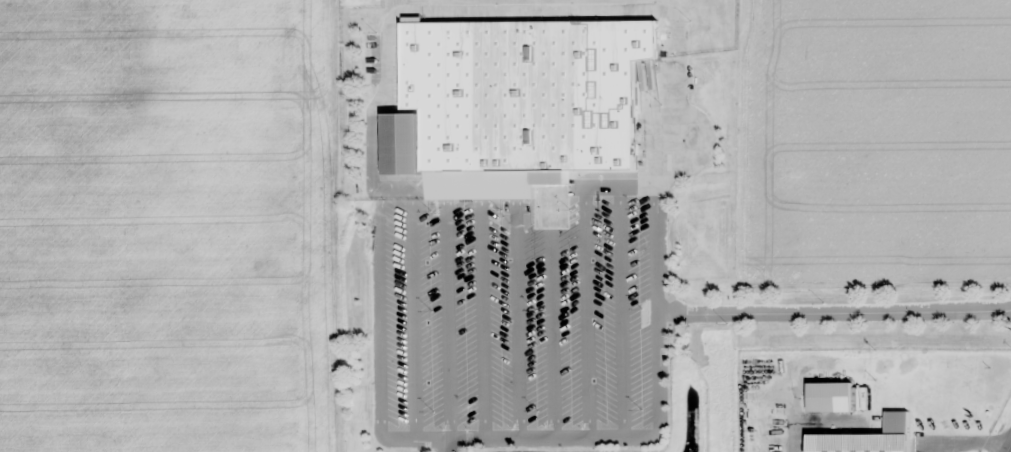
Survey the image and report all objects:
building: (527, 93)
road: (378, 311)
road: (834, 312)
building: (829, 396)
building: (857, 442)
road: (448, 446)

